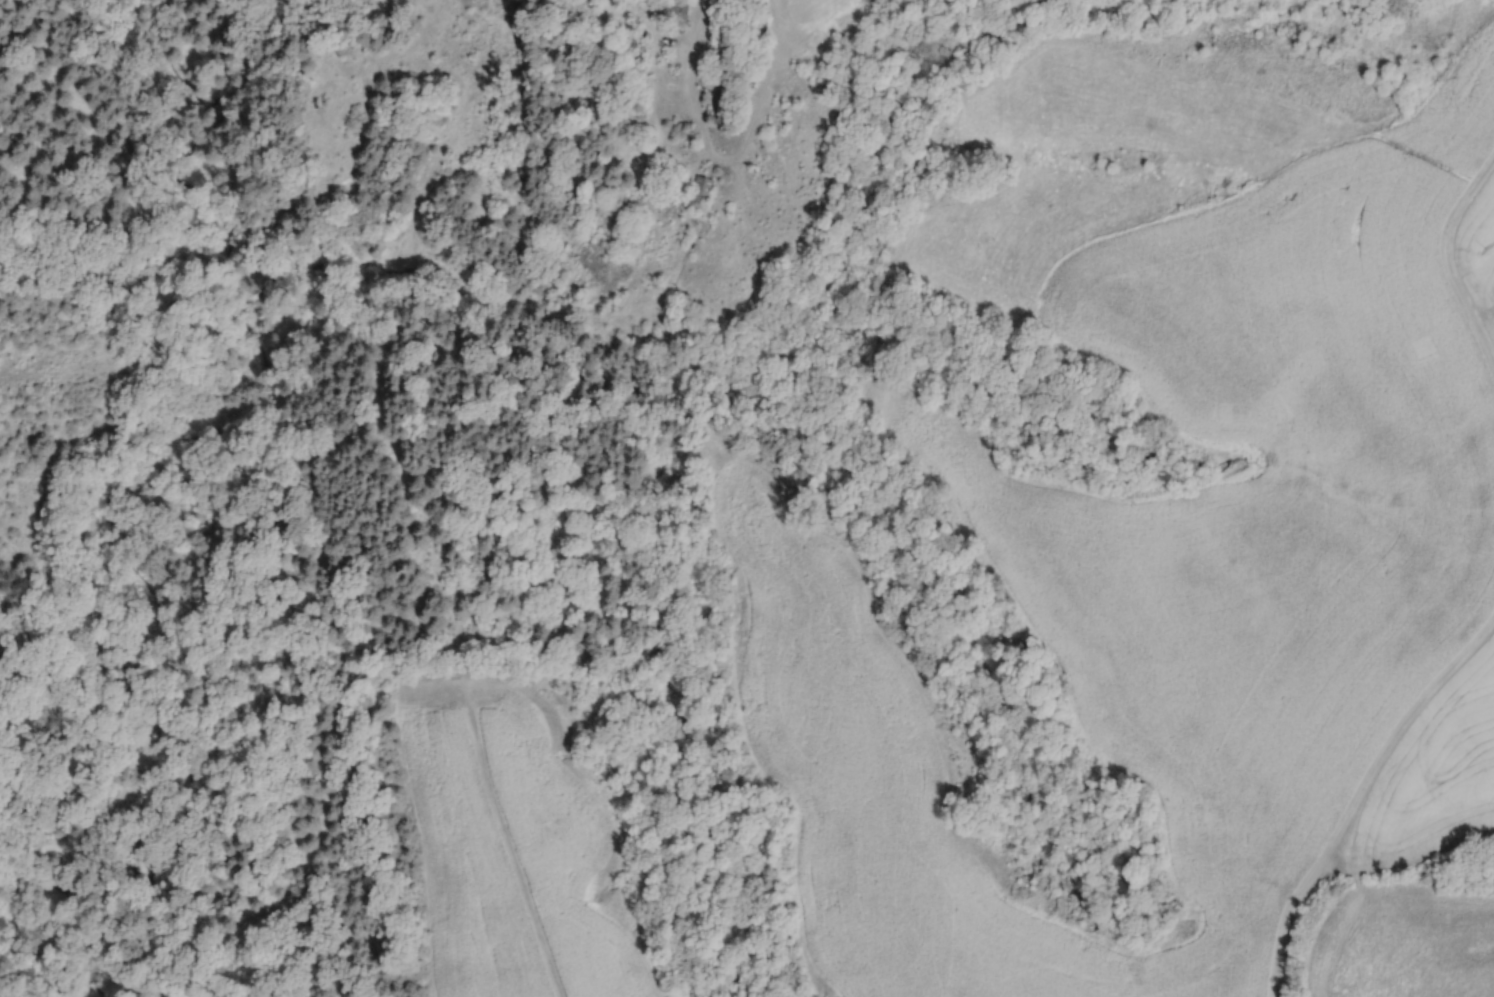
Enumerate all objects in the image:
building: (666, 11)
road: (687, 79)
building: (695, 193)

